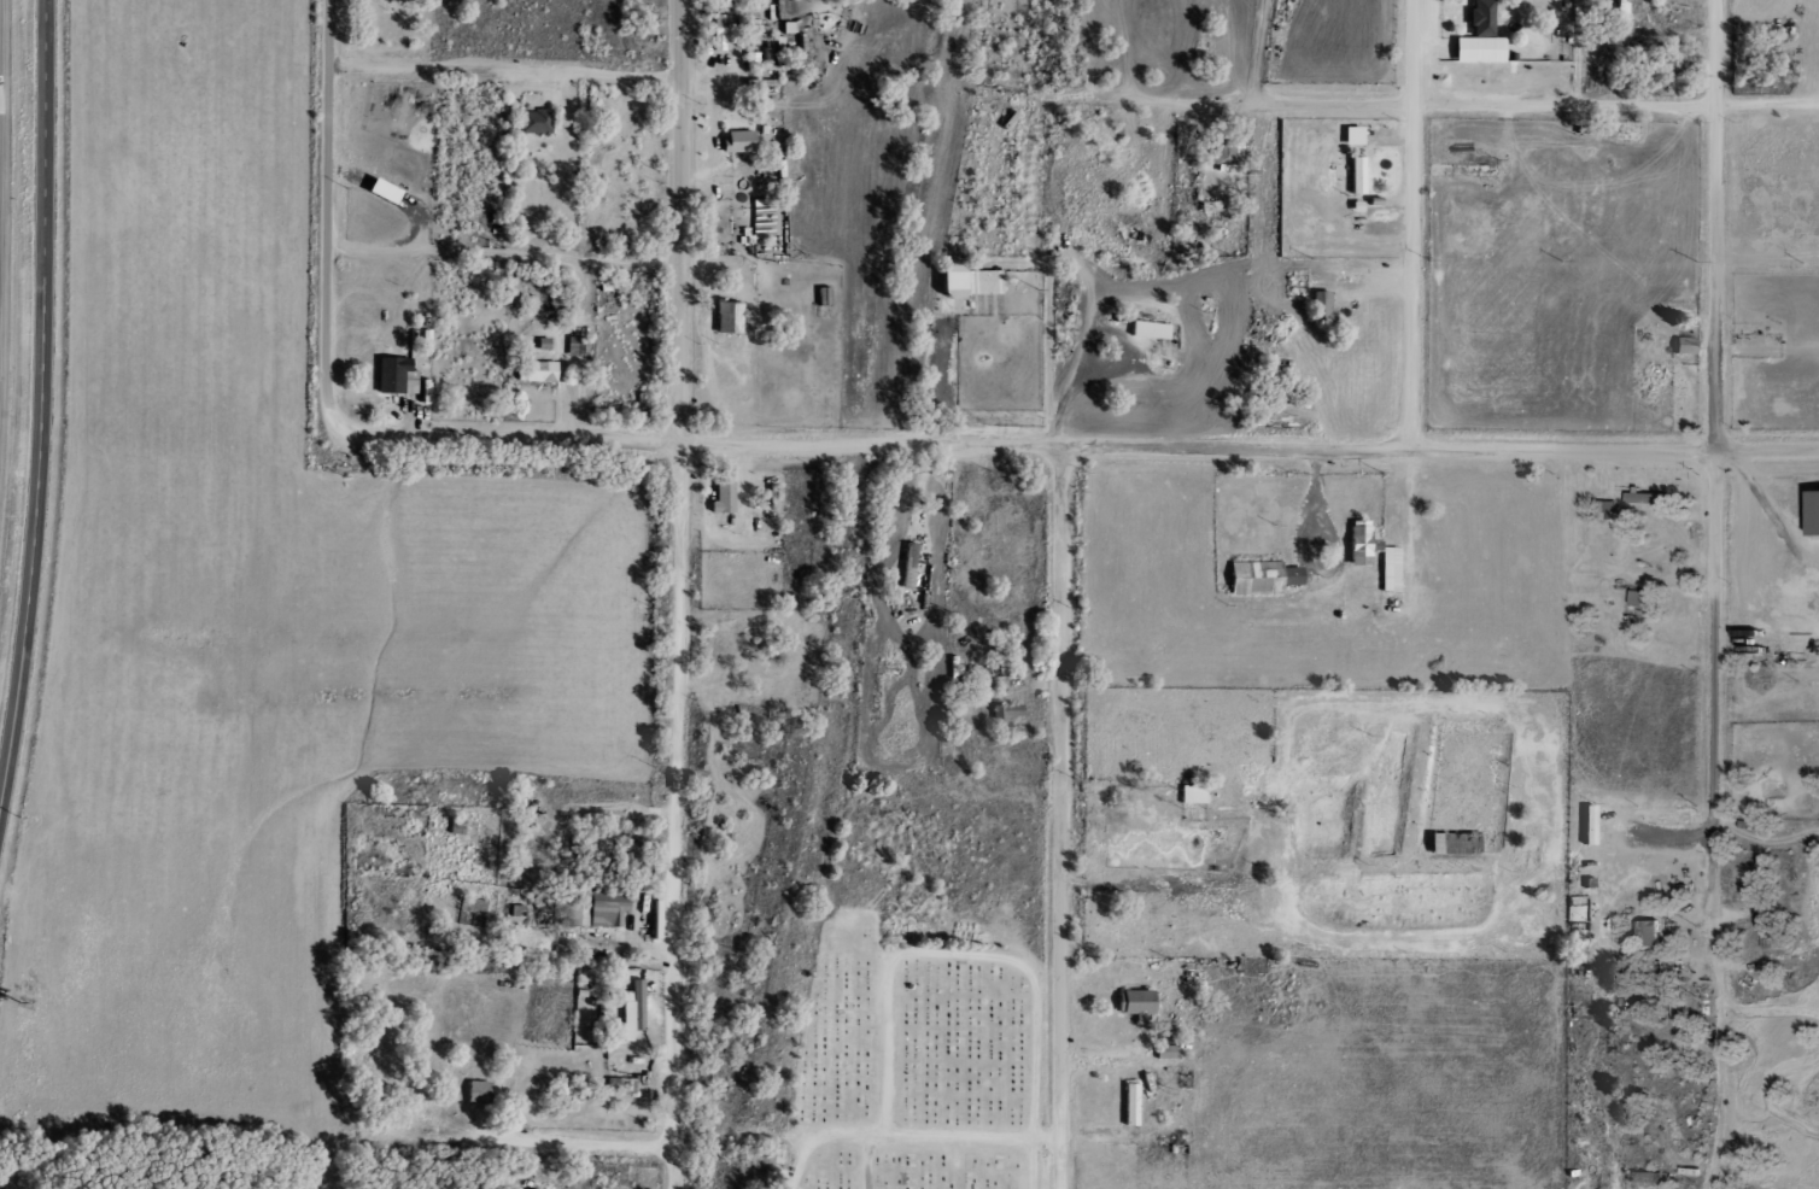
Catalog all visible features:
building: (1621, 1)
building: (719, 34)
building: (1476, 37)
road: (505, 75)
road: (1440, 104)
building: (532, 122)
building: (1350, 135)
building: (735, 141)
building: (1217, 152)
building: (1355, 176)
building: (379, 191)
road: (327, 198)
road: (1411, 223)
road: (4, 248)
building: (979, 282)
building: (820, 295)
building: (726, 317)
building: (1148, 330)
building: (1683, 346)
building: (534, 371)
building: (393, 376)
road: (1080, 391)
road: (41, 404)
road: (337, 420)
road: (706, 445)
road: (1437, 449)
road: (1715, 480)
building: (720, 498)
building: (1601, 509)
building: (1811, 512)
building: (1358, 546)
building: (1387, 569)
building: (911, 570)
building: (1258, 578)
railway: (844, 593)
road: (679, 594)
building: (1638, 598)
building: (1002, 715)
building: (1189, 795)
road: (1057, 818)
building: (1585, 826)
building: (1451, 844)
building: (624, 856)
building: (473, 906)
building: (1644, 932)
road: (965, 960)
building: (1133, 1004)
building: (631, 1009)
building: (1164, 1044)
park: (925, 1062)
building: (476, 1093)
building: (1129, 1103)
road: (917, 1140)
road: (571, 1142)
building: (792, 1160)
building: (1645, 1177)
building: (520, 1188)

